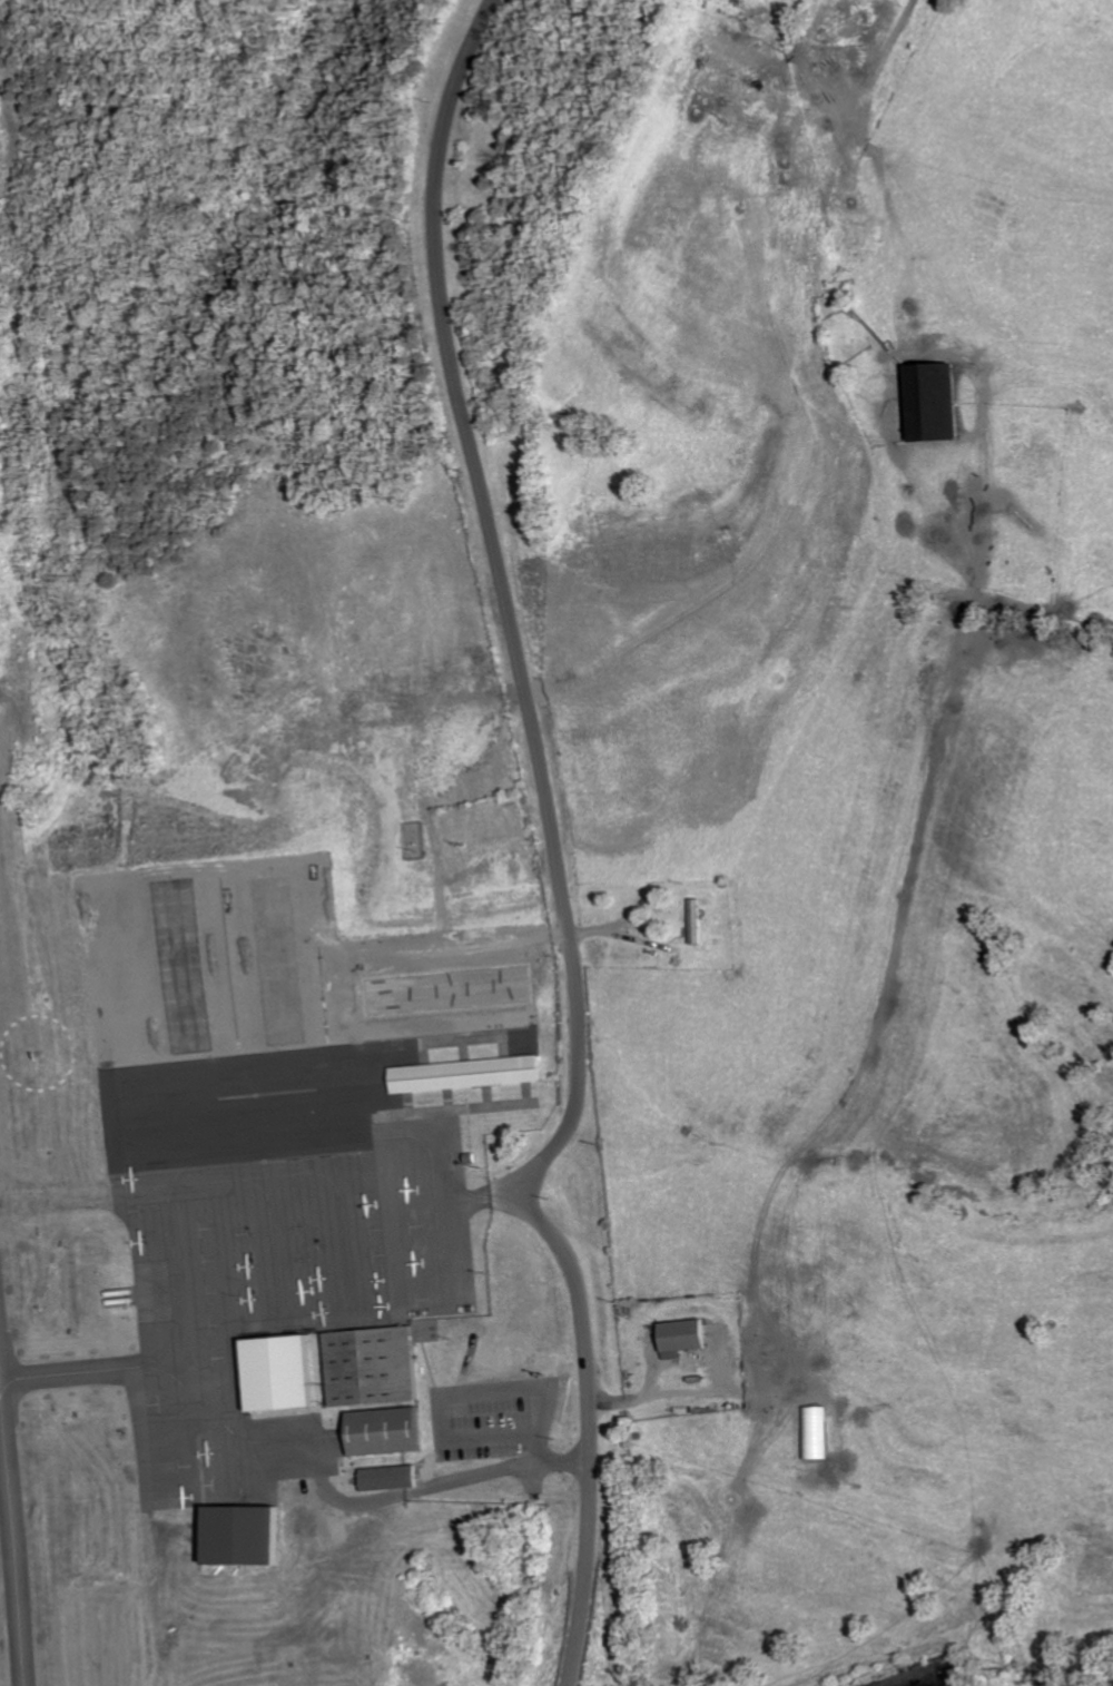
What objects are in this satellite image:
building: (938, 404)
road: (506, 602)
road: (735, 829)
building: (700, 921)
building: (470, 1073)
airport taxiway: (61, 1197)
road: (425, 1223)
parking lot: (432, 1265)
airport apron: (253, 1284)
building: (688, 1338)
building: (375, 1364)
building: (286, 1373)
road: (493, 1394)
building: (385, 1430)
road: (590, 1430)
building: (394, 1478)
building: (244, 1532)
airport taxiway: (11, 1559)

